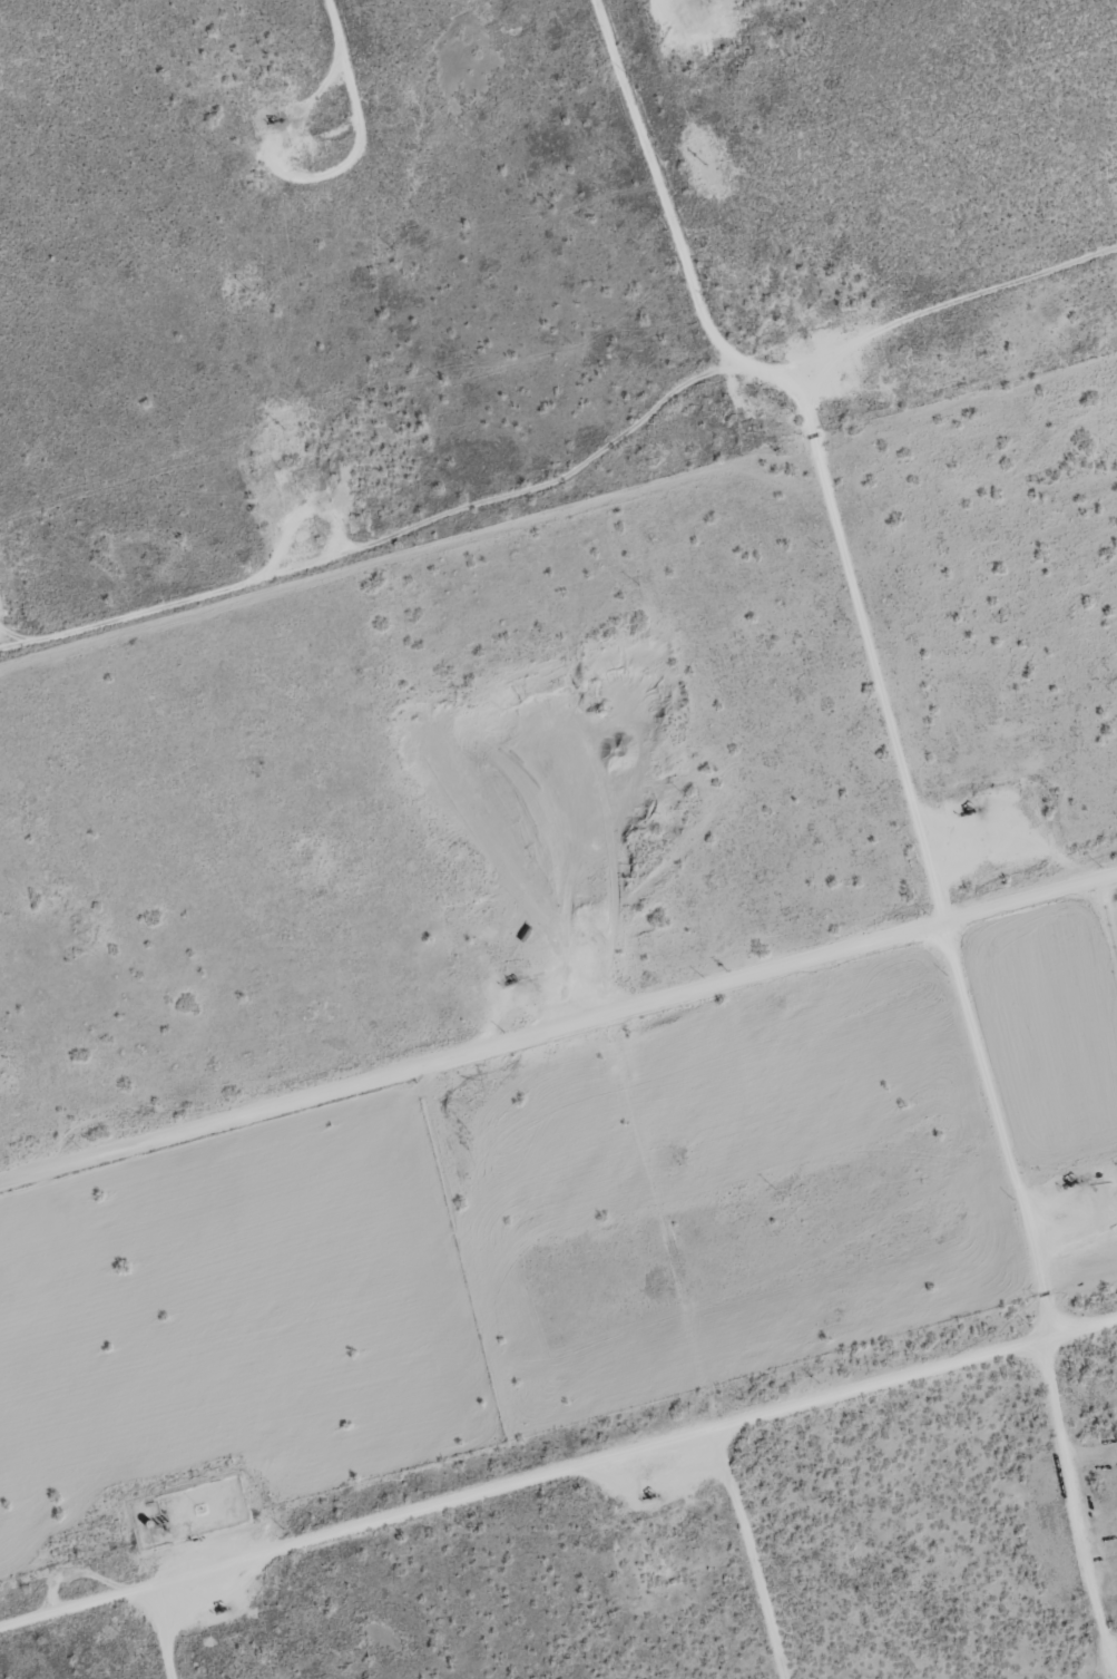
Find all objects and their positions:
road: (557, 1462)
road: (751, 1549)

